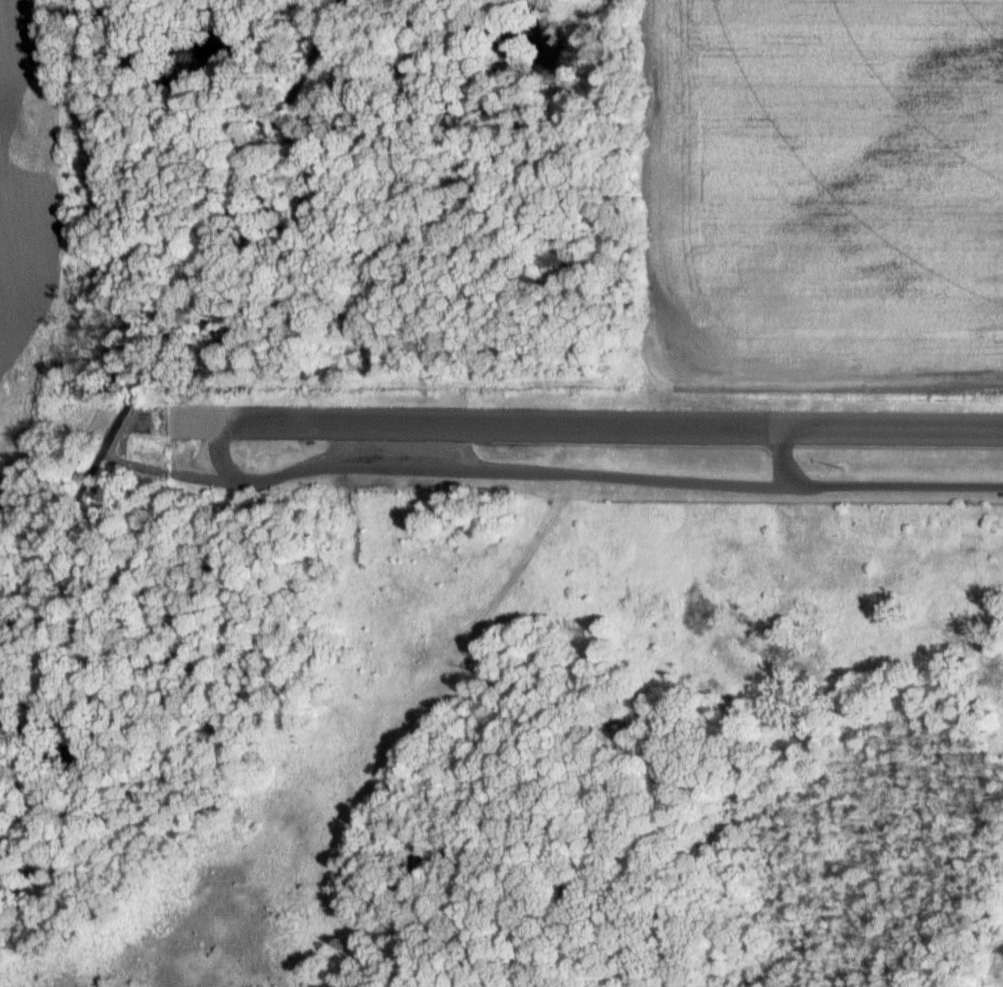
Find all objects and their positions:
road: (166, 310)
raceway: (584, 426)
road: (781, 453)
road: (585, 475)

